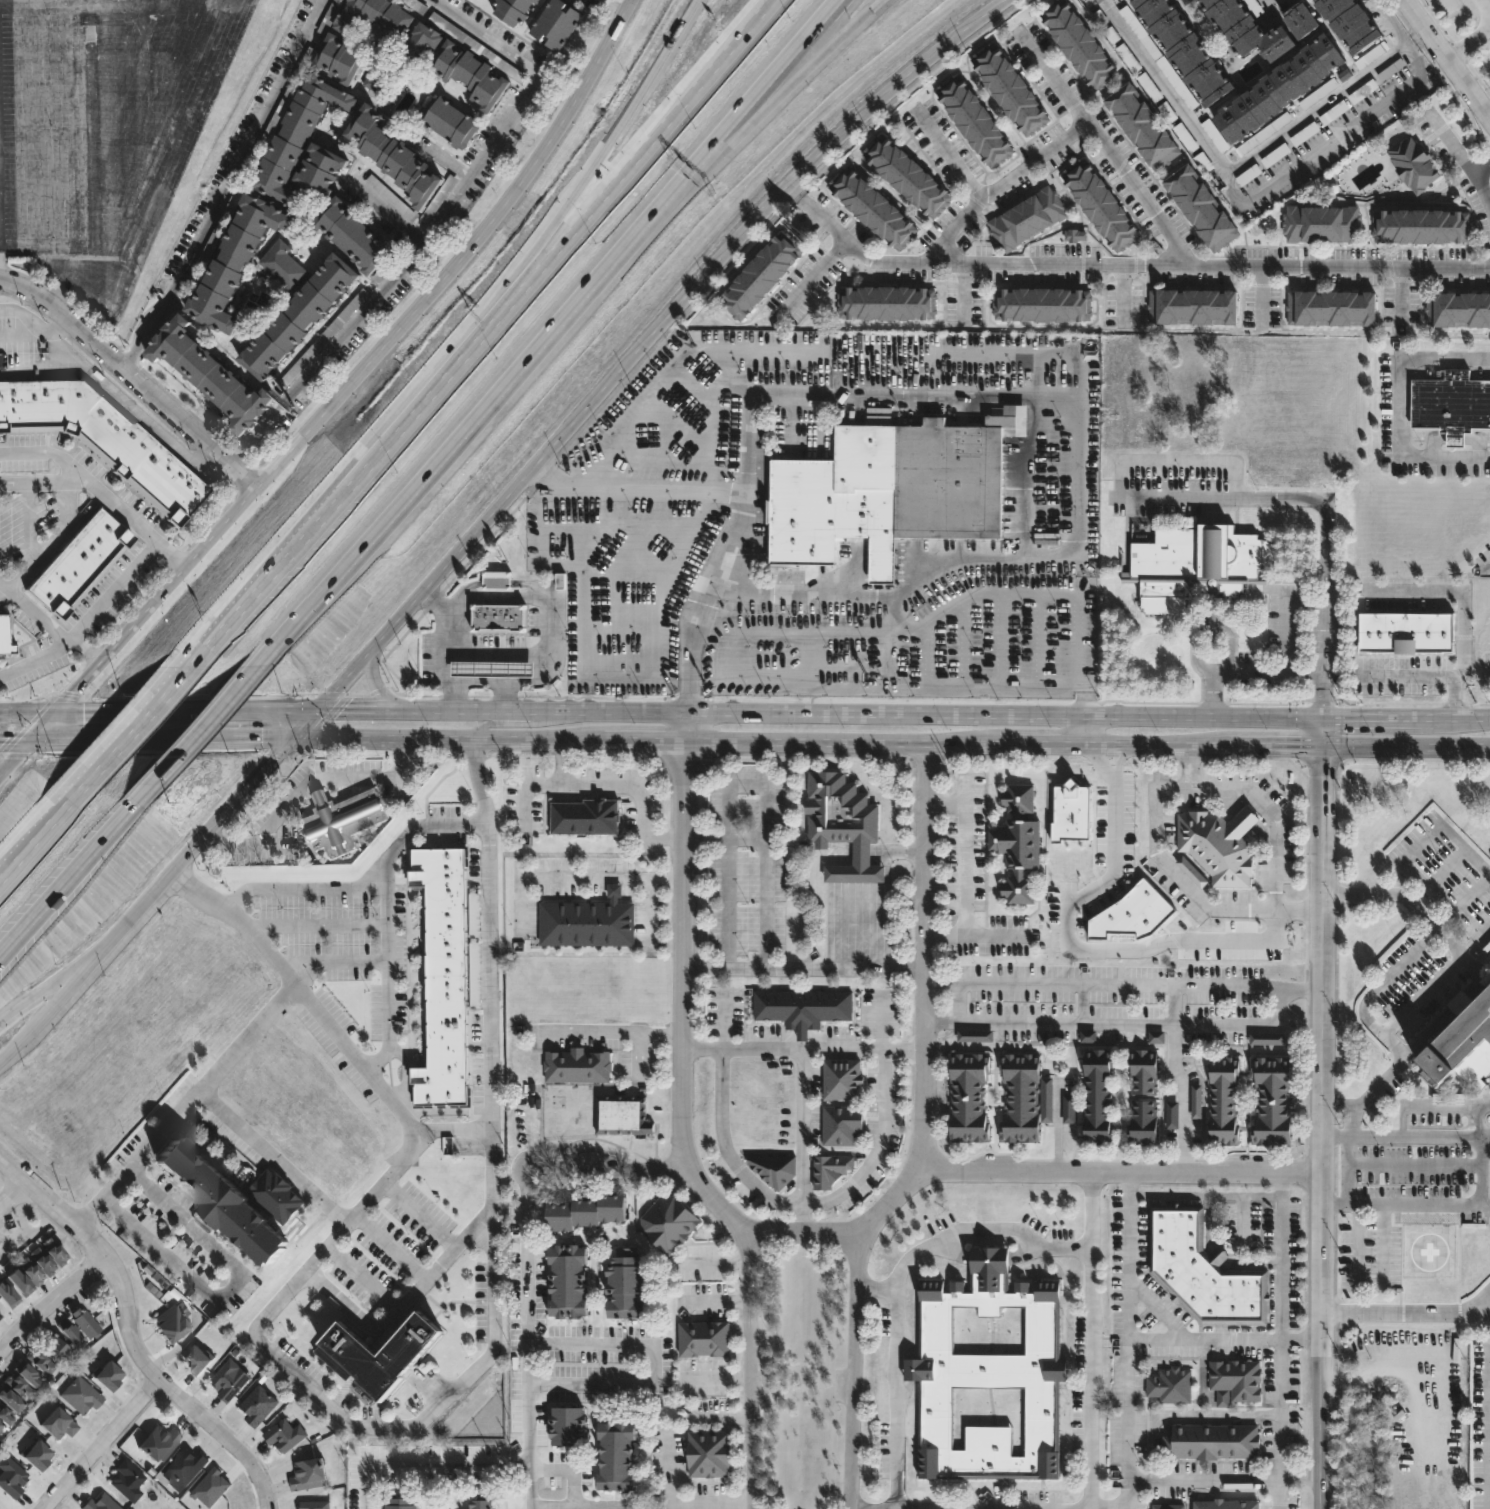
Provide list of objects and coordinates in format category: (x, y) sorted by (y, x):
building: (534, 0)
road: (96, 3)
road: (618, 6)
road: (1485, 6)
building: (510, 9)
building: (374, 19)
building: (1350, 21)
building: (555, 22)
road: (1389, 22)
building: (1260, 26)
road: (847, 30)
building: (416, 42)
building: (1080, 43)
road: (1467, 43)
building: (1184, 48)
road: (177, 56)
building: (335, 57)
road: (786, 57)
road: (1415, 59)
road: (1445, 60)
building: (466, 74)
building: (373, 76)
building: (1278, 86)
road: (775, 88)
building: (1009, 88)
road: (142, 94)
road: (1315, 109)
building: (975, 119)
building: (446, 120)
building: (1142, 125)
road: (33, 127)
building: (1215, 136)
road: (71, 137)
road: (107, 138)
building: (298, 145)
road: (1106, 148)
road: (249, 149)
building: (389, 155)
road: (948, 155)
road: (443, 156)
road: (1461, 161)
building: (1414, 163)
road: (1479, 166)
building: (906, 175)
road: (1005, 188)
road: (152, 189)
road: (1236, 191)
road: (572, 194)
building: (1101, 205)
building: (872, 206)
building: (1201, 207)
road: (390, 214)
building: (1026, 219)
road: (444, 221)
building: (1322, 223)
building: (1422, 225)
road: (577, 226)
building: (347, 234)
building: (1076, 236)
road: (464, 259)
building: (228, 261)
building: (280, 265)
road: (1125, 267)
building: (759, 274)
road: (818, 277)
road: (966, 292)
road: (1126, 297)
road: (1409, 299)
road: (1263, 301)
building: (886, 303)
building: (1042, 304)
building: (1192, 306)
building: (1331, 307)
building: (1458, 309)
building: (292, 316)
road: (149, 330)
road: (650, 339)
road: (136, 372)
building: (202, 374)
road: (112, 383)
road: (502, 387)
road: (806, 395)
building: (1450, 403)
road: (1396, 408)
road: (405, 413)
building: (878, 420)
building: (104, 436)
road: (240, 454)
road: (34, 482)
road: (639, 489)
road: (102, 490)
building: (891, 490)
road: (1221, 496)
road: (292, 550)
building: (78, 562)
road: (35, 564)
building: (1195, 568)
building: (496, 580)
road: (5, 593)
road: (873, 593)
road: (103, 602)
road: (154, 602)
road: (548, 605)
road: (1286, 614)
road: (1462, 614)
building: (497, 616)
building: (1406, 633)
building: (6, 637)
road: (441, 649)
road: (495, 651)
road: (36, 657)
building: (491, 667)
gas station: (491, 667)
road: (1269, 671)
road: (1407, 676)
road: (488, 681)
road: (174, 687)
road: (242, 691)
road: (384, 691)
traffic signals: (74, 693)
traffic signals: (1323, 696)
traffic signals: (342, 710)
road: (228, 712)
road: (701, 712)
road: (98, 714)
road: (1205, 714)
traffic signals: (84, 715)
road: (28, 716)
traffic signals: (1344, 718)
road: (1379, 718)
road: (1462, 719)
road: (515, 720)
road: (304, 724)
road: (1087, 728)
road: (45, 729)
road: (1323, 731)
road: (235, 739)
traffic signals: (262, 739)
road: (449, 740)
road: (107, 741)
road: (649, 741)
traffic signals: (4, 742)
road: (17, 742)
road: (845, 742)
road: (1043, 743)
road: (1164, 744)
road: (1282, 745)
traffic signals: (1300, 746)
road: (1406, 746)
road: (112, 755)
traffic signals: (273, 759)
road: (180, 761)
road: (17, 762)
traffic signals: (1323, 767)
road: (1193, 768)
road: (746, 783)
road: (540, 784)
road: (304, 793)
road: (641, 797)
road: (230, 804)
road: (1159, 808)
building: (1071, 813)
building: (585, 815)
building: (341, 819)
building: (818, 820)
road: (41, 834)
road: (728, 840)
building: (1021, 842)
building: (1218, 843)
road: (905, 851)
road: (1468, 851)
road: (964, 870)
building: (1192, 871)
road: (576, 876)
road: (73, 881)
road: (364, 883)
road: (387, 892)
road: (884, 909)
building: (1134, 914)
building: (475, 915)
building: (588, 921)
parking lot: (1482, 925)
road: (650, 929)
road: (388, 931)
road: (994, 935)
road: (689, 942)
road: (1076, 946)
road: (96, 951)
road: (927, 959)
road: (334, 961)
road: (808, 968)
building: (444, 974)
building: (475, 975)
road: (1386, 981)
road: (52, 984)
road: (1106, 985)
road: (1468, 990)
road: (303, 999)
building: (803, 1008)
road: (882, 1021)
road: (1134, 1022)
road: (620, 1032)
building: (975, 1036)
building: (1088, 1036)
building: (1156, 1037)
building: (1270, 1038)
building: (1462, 1045)
road: (11, 1046)
road: (808, 1047)
road: (637, 1054)
building: (578, 1065)
building: (1146, 1071)
road: (406, 1076)
building: (843, 1080)
road: (1180, 1080)
building: (972, 1096)
building: (1101, 1096)
building: (1027, 1097)
building: (1227, 1100)
building: (1275, 1100)
building: (1197, 1102)
road: (1340, 1104)
road: (179, 1107)
road: (1433, 1107)
building: (1071, 1109)
building: (623, 1114)
building: (1172, 1115)
building: (1145, 1122)
building: (843, 1124)
road: (1059, 1126)
road: (1325, 1127)
road: (491, 1128)
road: (451, 1134)
road: (1336, 1137)
road: (1347, 1137)
road: (1486, 1137)
road: (876, 1149)
road: (270, 1157)
road: (1414, 1164)
building: (773, 1169)
building: (830, 1170)
road: (517, 1174)
road: (910, 1182)
parking lot: (1416, 1187)
road: (1203, 1196)
road: (10, 1198)
building: (234, 1198)
road: (776, 1202)
road: (1336, 1203)
road: (1484, 1204)
building: (588, 1211)
road: (419, 1214)
building: (668, 1224)
road: (64, 1228)
road: (989, 1234)
road: (390, 1246)
helipad: (1428, 1251)
building: (54, 1252)
building: (43, 1262)
building: (1203, 1270)
building: (31, 1272)
road: (364, 1277)
building: (570, 1281)
building: (19, 1282)
building: (628, 1285)
road: (232, 1286)
road: (1369, 1286)
road: (283, 1294)
building: (8, 1296)
road: (717, 1301)
road: (405, 1304)
road: (1480, 1305)
road: (46, 1313)
road: (1406, 1314)
building: (0, 1317)
building: (85, 1324)
building: (172, 1324)
road: (529, 1325)
building: (71, 1335)
road: (1225, 1337)
building: (705, 1339)
road: (1098, 1340)
road: (1128, 1341)
road: (1279, 1341)
building: (59, 1348)
building: (378, 1351)
building: (198, 1360)
building: (40, 1362)
road: (654, 1363)
road: (756, 1368)
road: (859, 1369)
building: (989, 1374)
building: (27, 1375)
road: (720, 1375)
building: (108, 1377)
building: (229, 1380)
road: (899, 1380)
building: (1235, 1381)
building: (1170, 1385)
building: (18, 1387)
building: (82, 1396)
building: (11, 1401)
road: (199, 1401)
building: (0, 1404)
building: (260, 1405)
road: (725, 1416)
building: (5, 1417)
building: (58, 1425)
parking lot: (1481, 1425)
building: (0, 1426)
building: (571, 1426)
building: (286, 1436)
road: (97, 1438)
building: (1214, 1442)
building: (160, 1444)
building: (711, 1454)
building: (37, 1456)
building: (619, 1457)
road: (451, 1467)
building: (181, 1468)
road: (1300, 1474)
building: (310, 1475)
road: (1203, 1475)
building: (12, 1478)
building: (128, 1482)
building: (211, 1488)
road: (531, 1488)
road: (574, 1488)
road: (367, 1489)
road: (680, 1499)
building: (402, 1503)
building: (482, 1503)
building: (100, 1504)
building: (1227, 1504)
building: (316, 1505)
road: (599, 1505)
building: (1168, 1506)
road: (1112, 1507)

